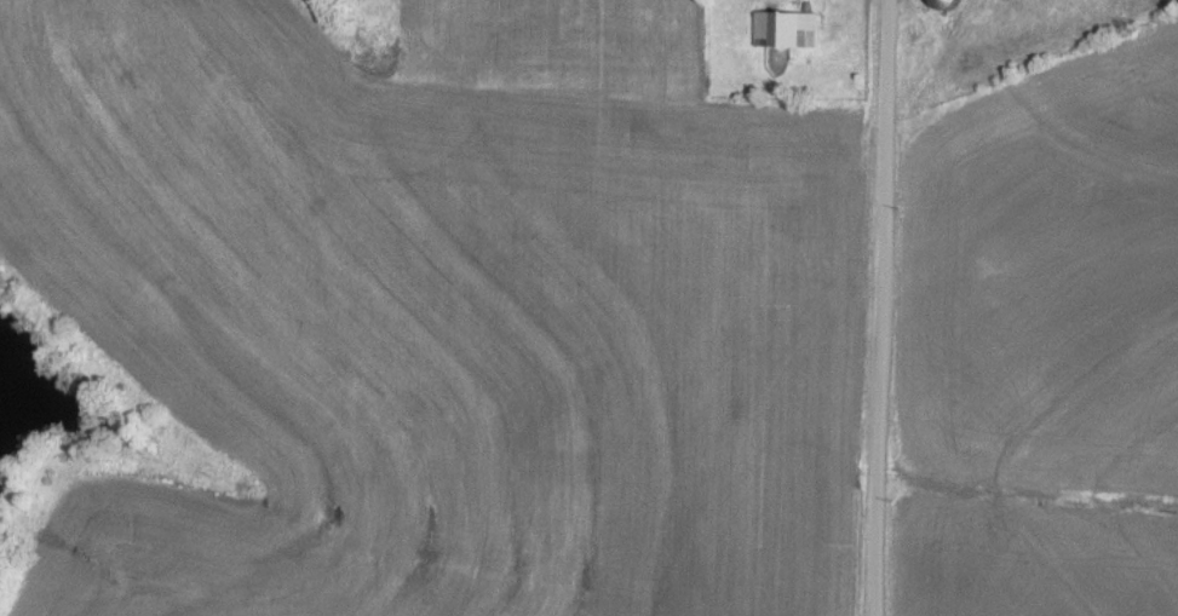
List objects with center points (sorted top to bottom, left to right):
building: (939, 5)
building: (783, 30)
road: (878, 307)

